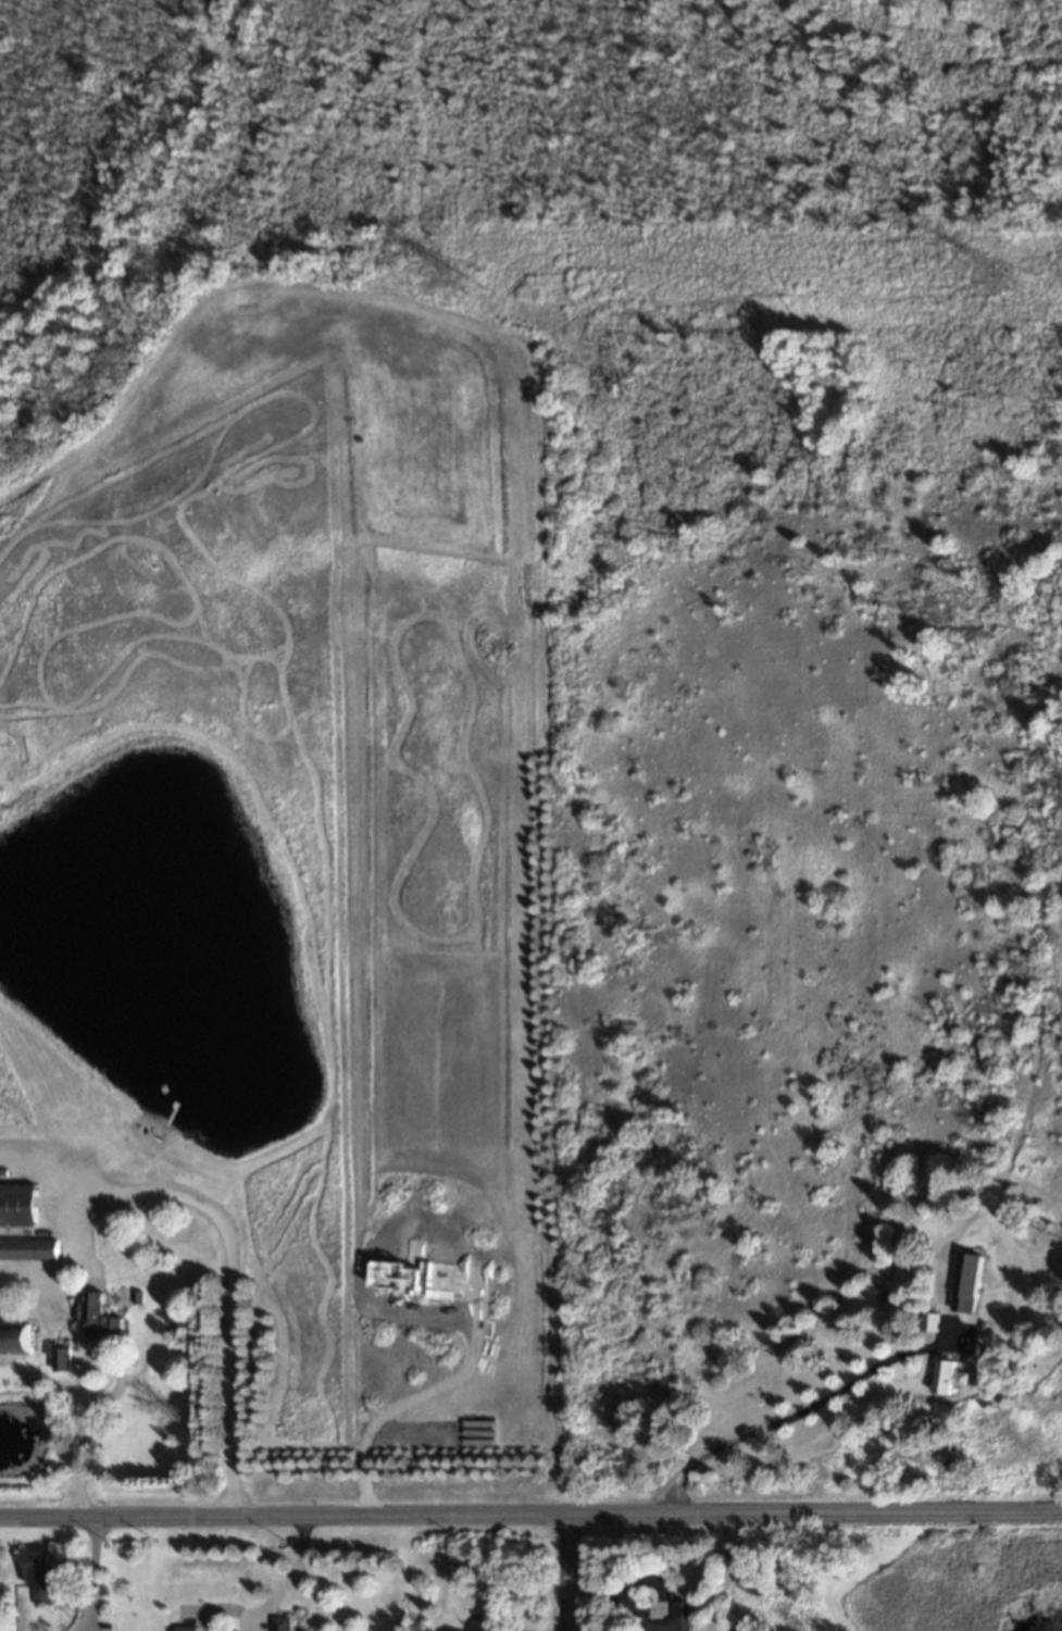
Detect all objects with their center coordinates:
power tower: (478, 296)
power tower: (1022, 297)
building: (17, 1208)
building: (28, 1252)
road: (228, 1270)
building: (966, 1284)
building: (99, 1320)
building: (929, 1324)
building: (13, 1341)
building: (59, 1359)
building: (949, 1380)
road: (411, 1400)
road: (800, 1416)
road: (77, 1460)
road: (530, 1521)
road: (570, 1576)
building: (41, 1579)
road: (89, 1579)
building: (680, 1619)
building: (283, 1624)
building: (186, 1629)

